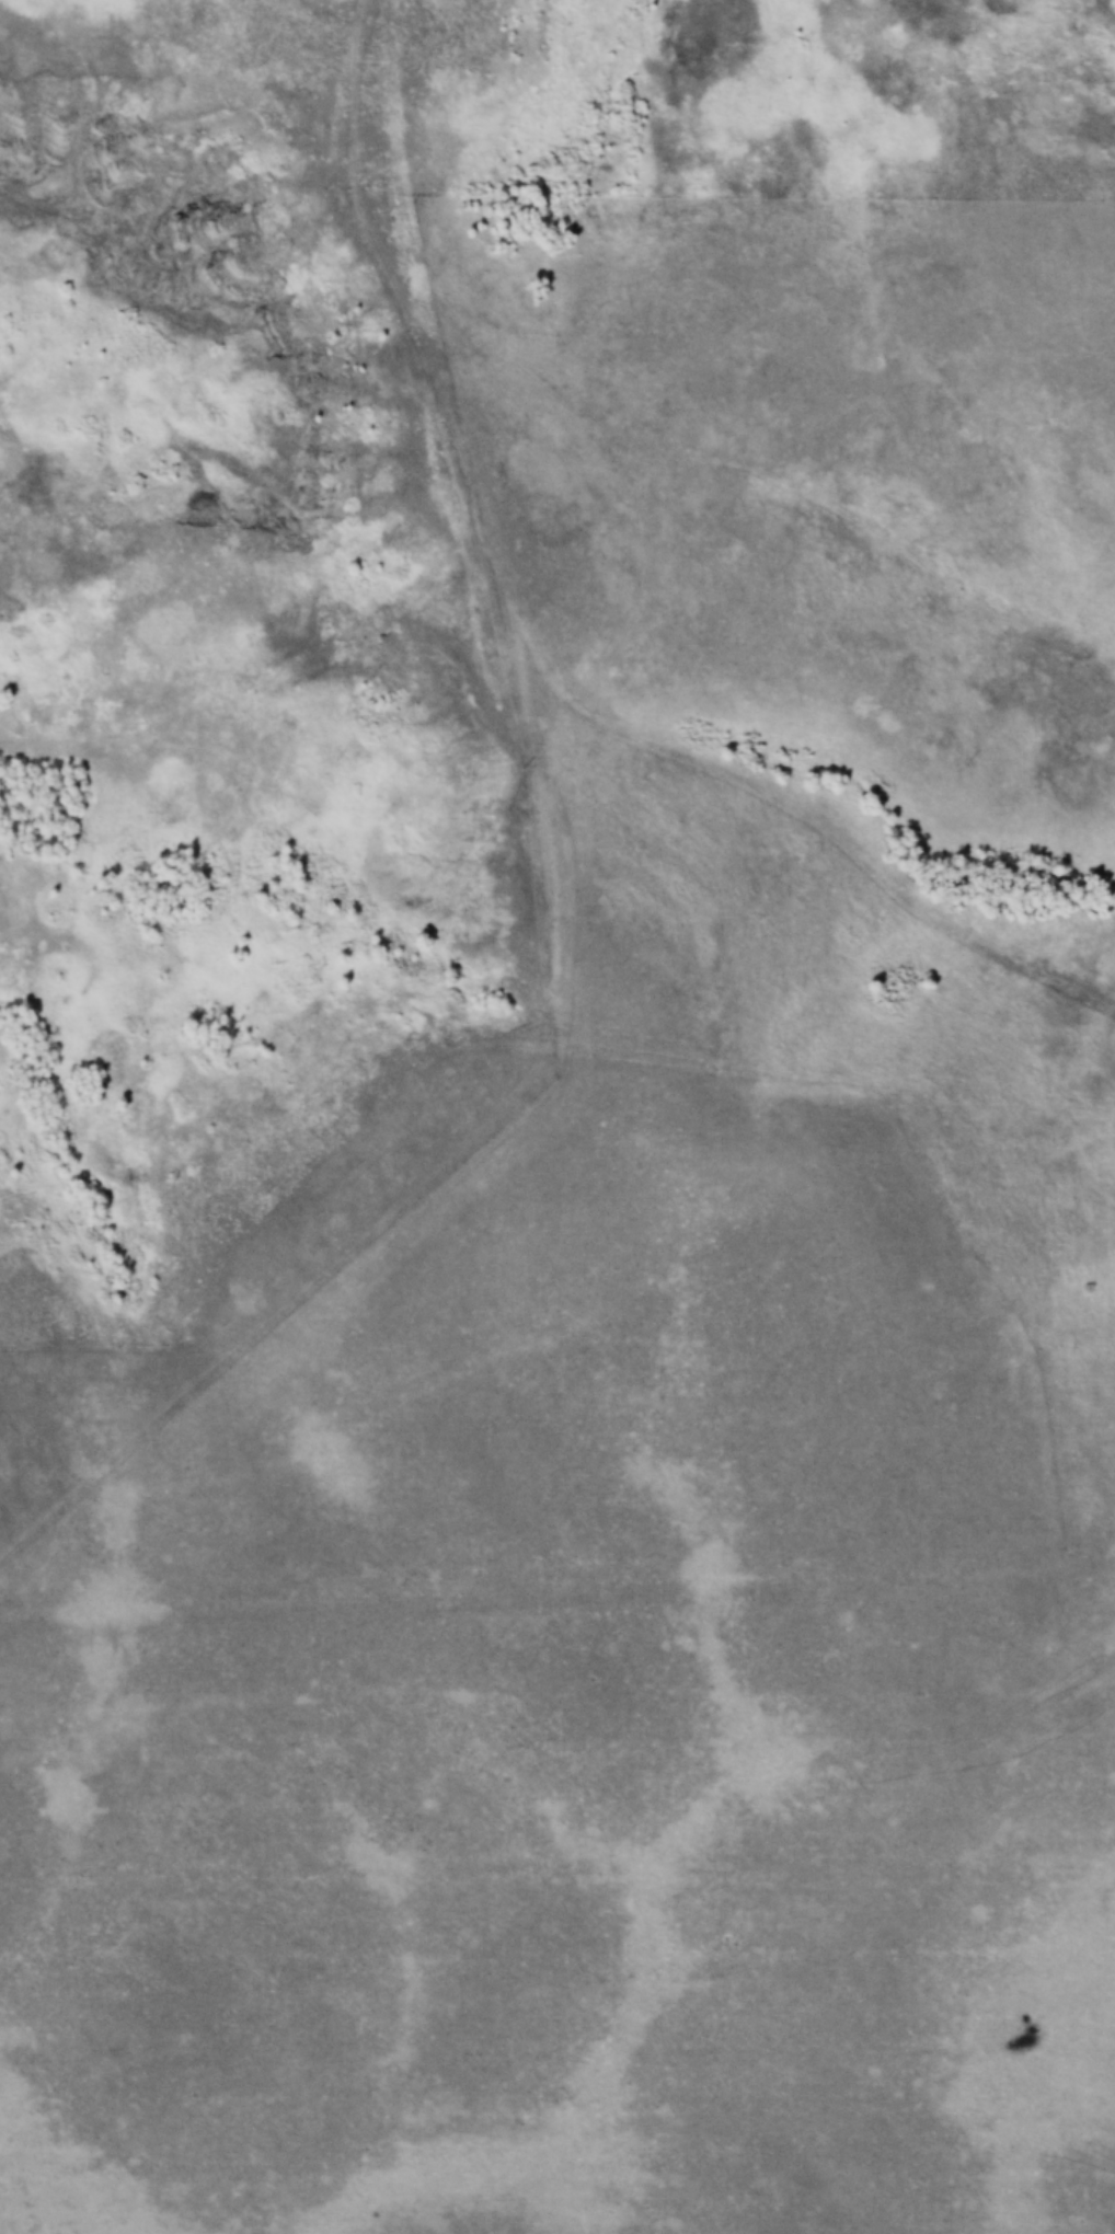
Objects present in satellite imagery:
road: (552, 643)

